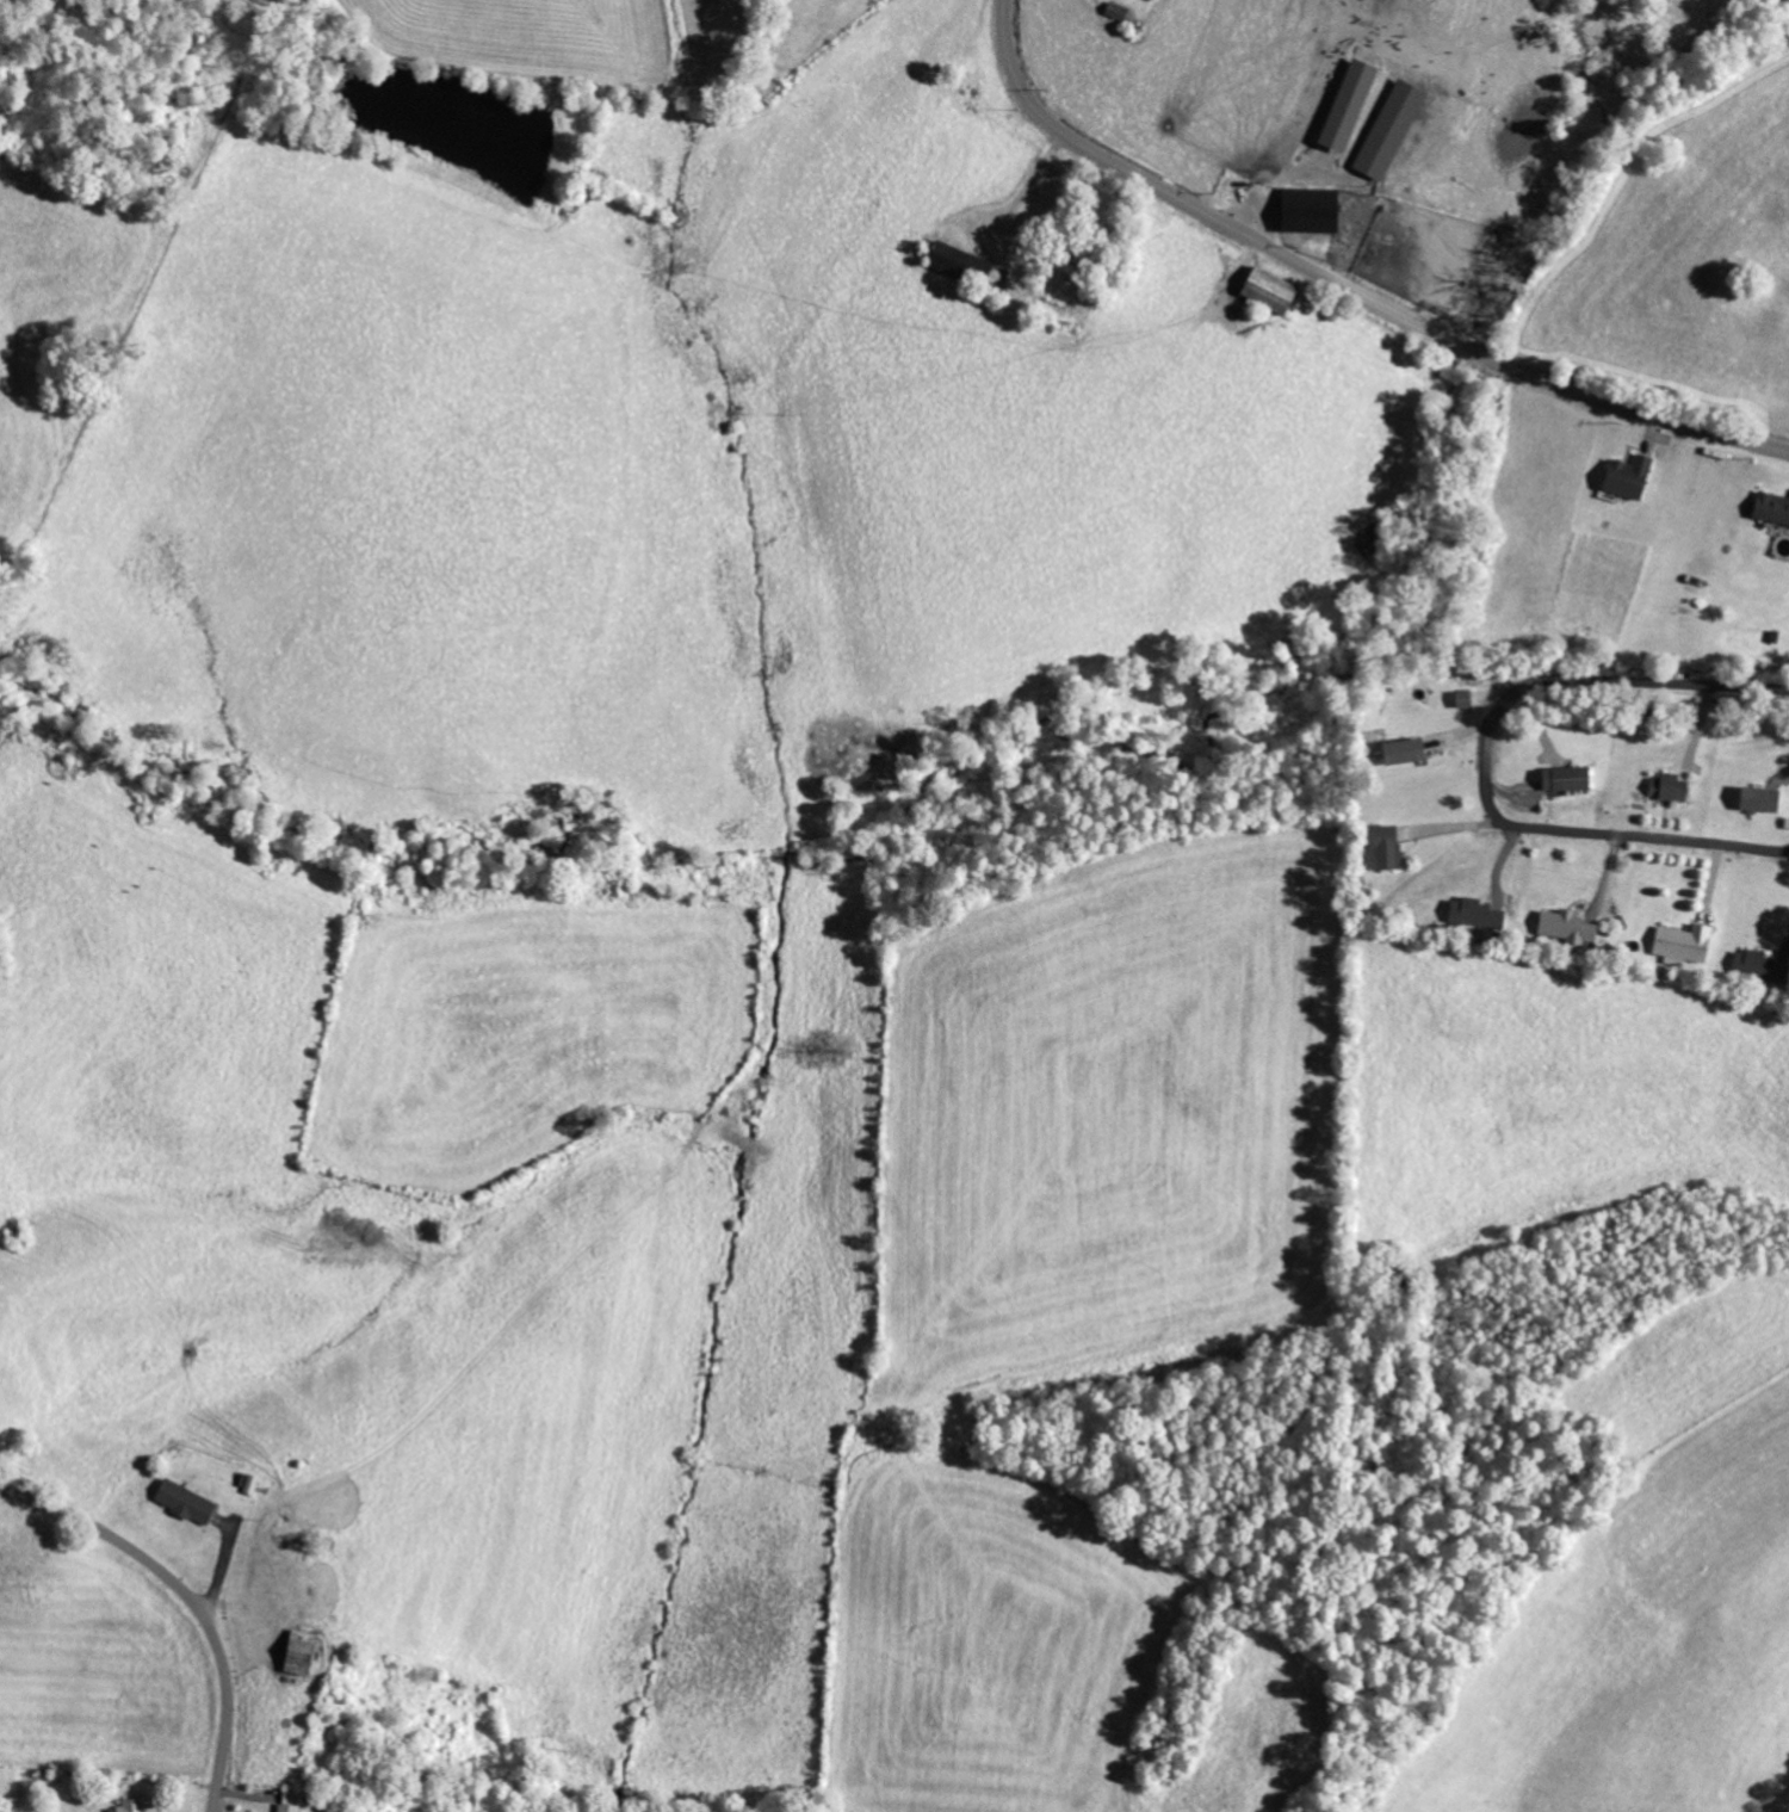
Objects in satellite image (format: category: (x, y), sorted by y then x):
building: (1342, 105)
building: (1386, 130)
building: (1305, 210)
road: (1347, 285)
building: (1263, 290)
building: (1624, 476)
building: (1770, 506)
building: (1399, 750)
road: (1488, 760)
building: (1562, 777)
building: (1667, 786)
building: (1756, 798)
building: (1383, 847)
building: (1471, 913)
building: (1560, 926)
building: (1678, 944)
building: (1753, 964)
building: (181, 1502)
road: (192, 1597)
building: (296, 1652)
building: (131, 1806)
building: (286, 1807)

